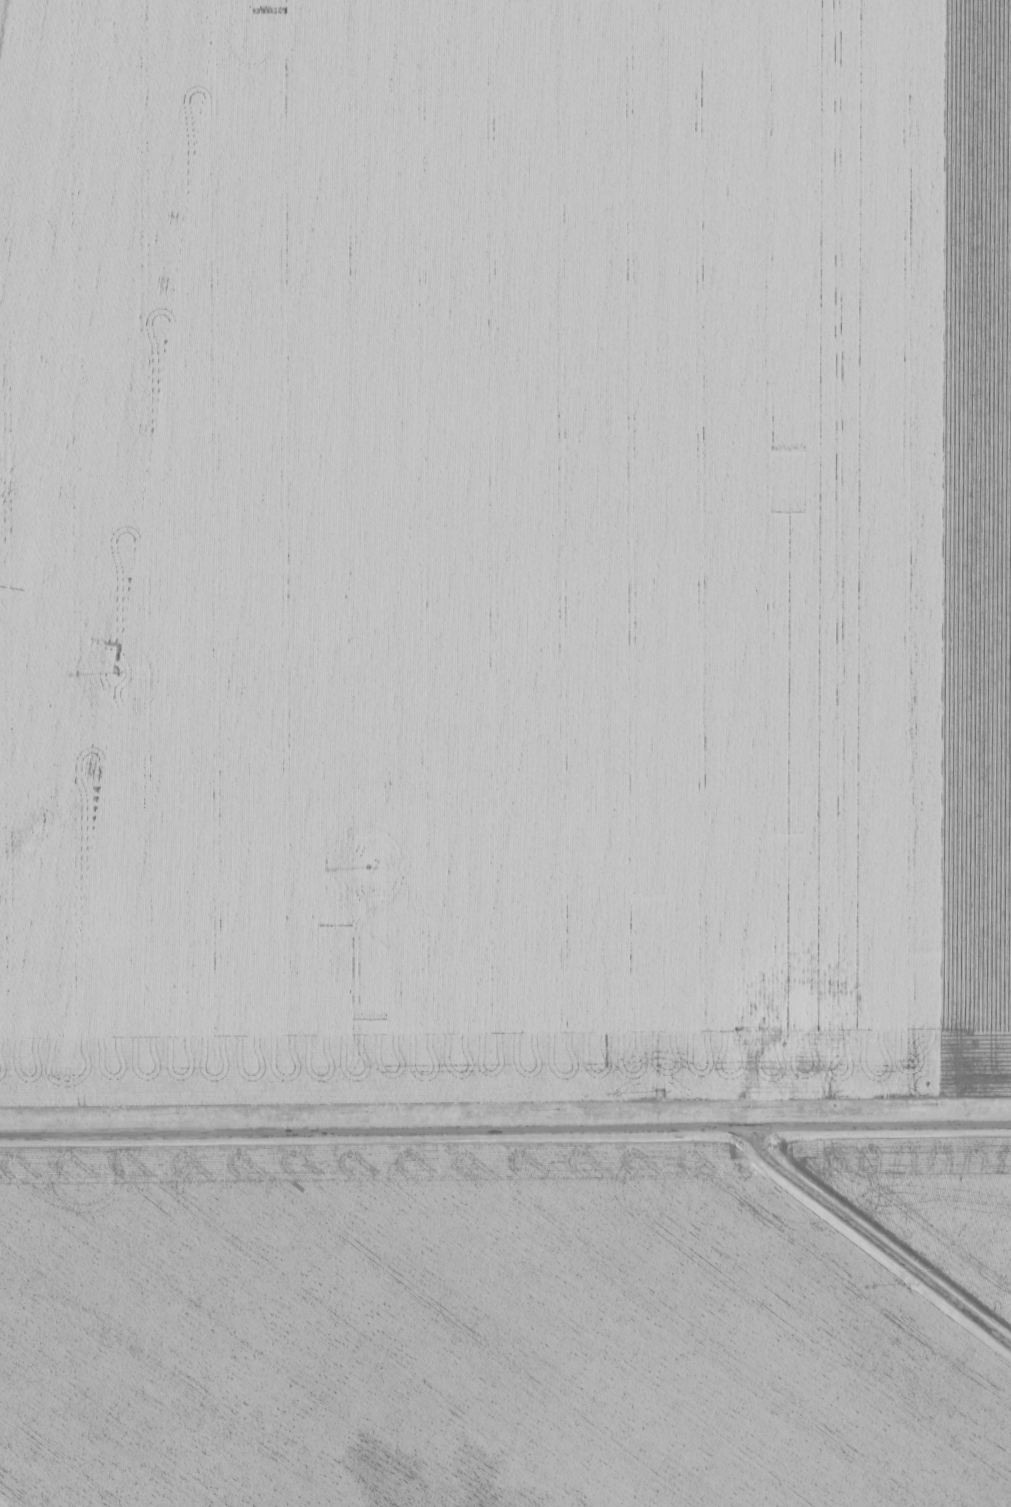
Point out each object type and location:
road: (505, 1124)
road: (879, 1229)

